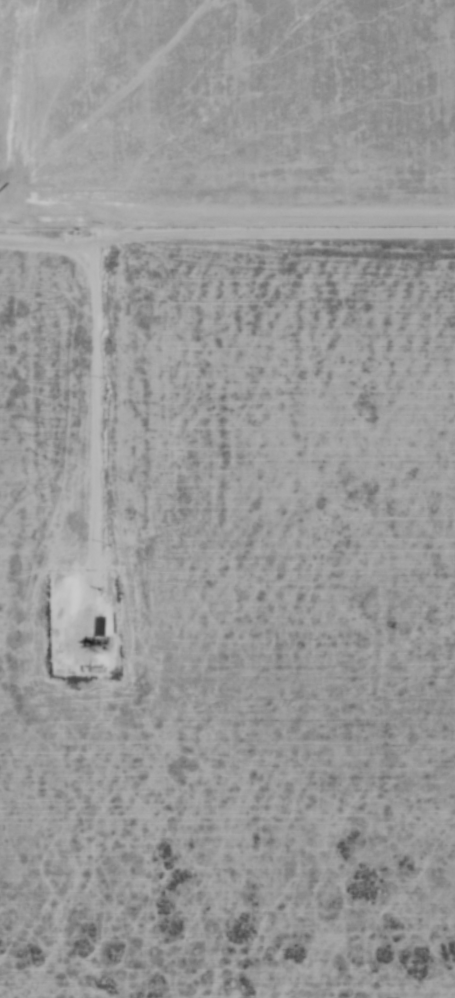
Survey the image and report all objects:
road: (227, 246)

